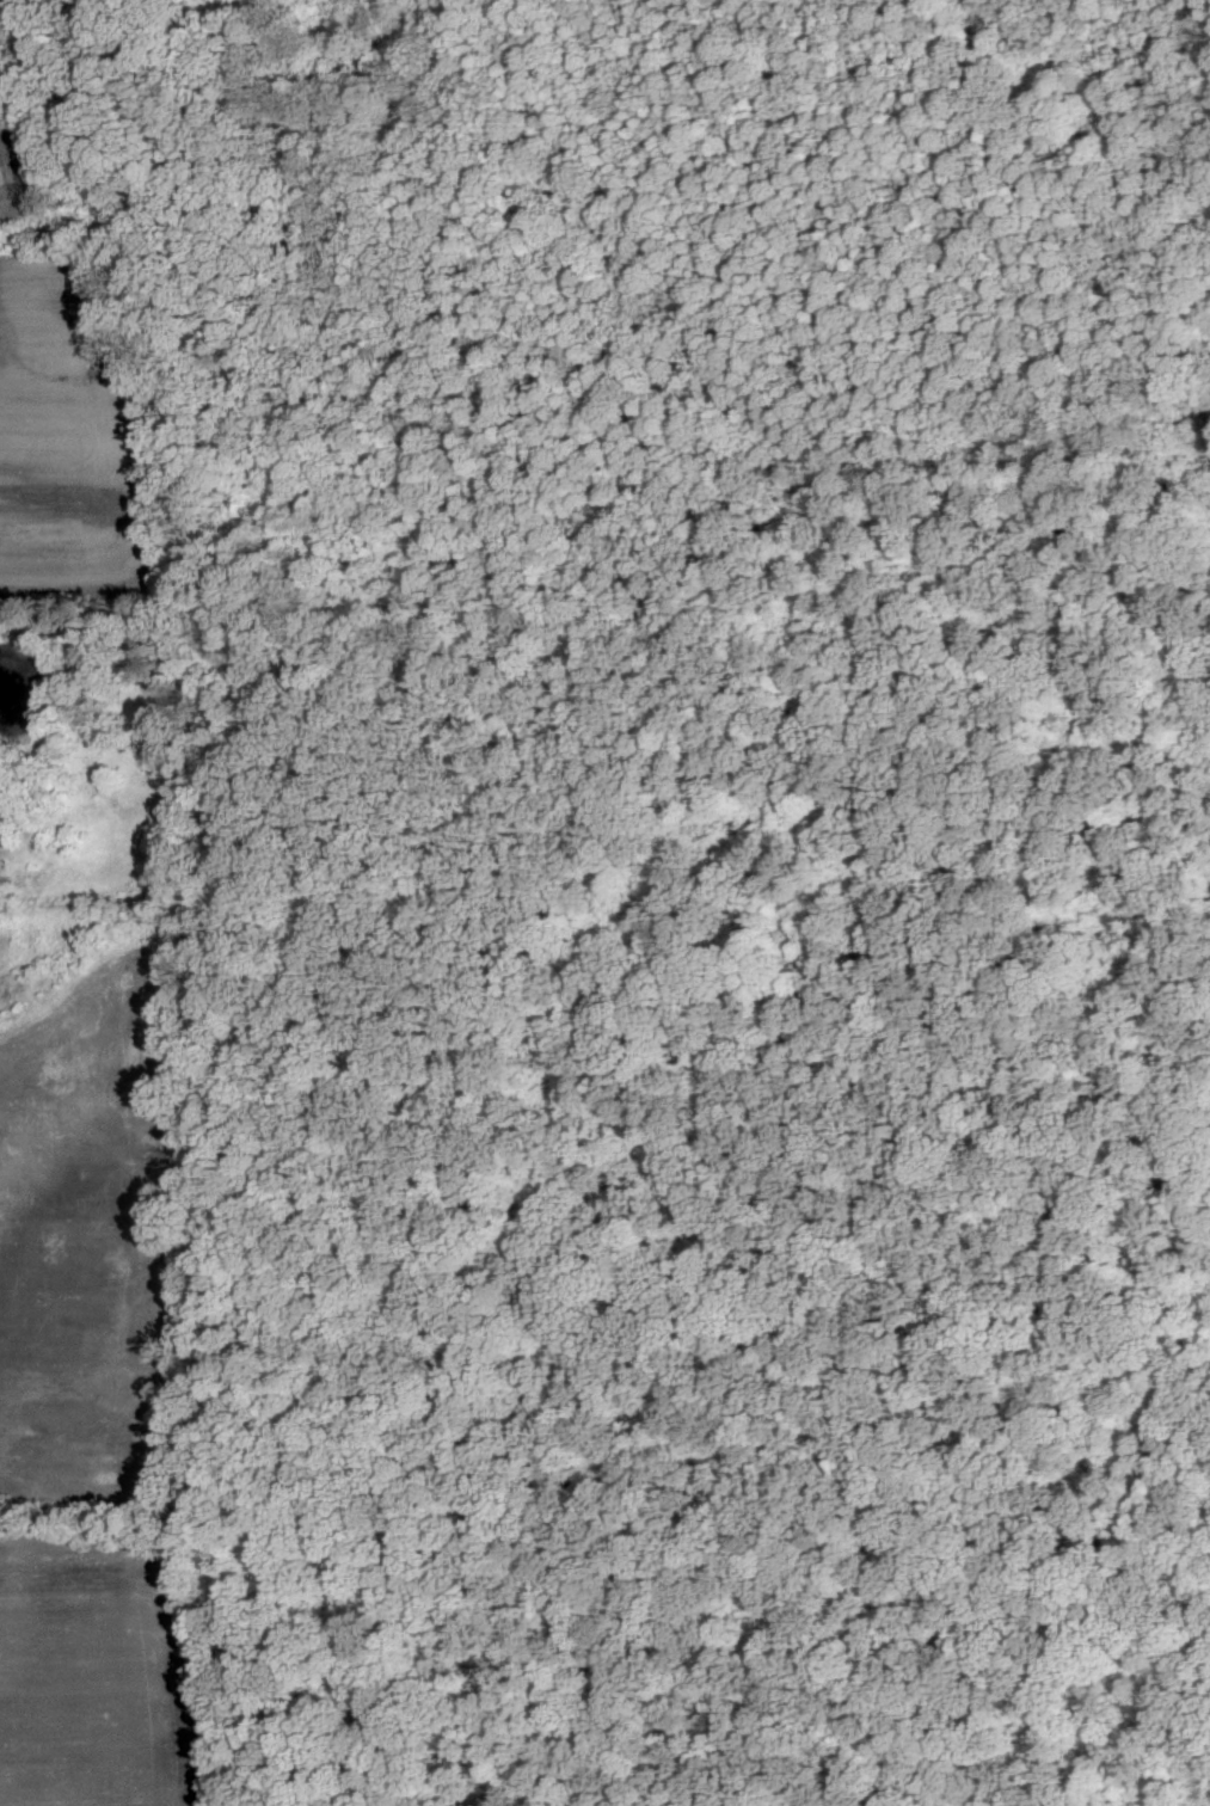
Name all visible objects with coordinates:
park: (686, 924)

